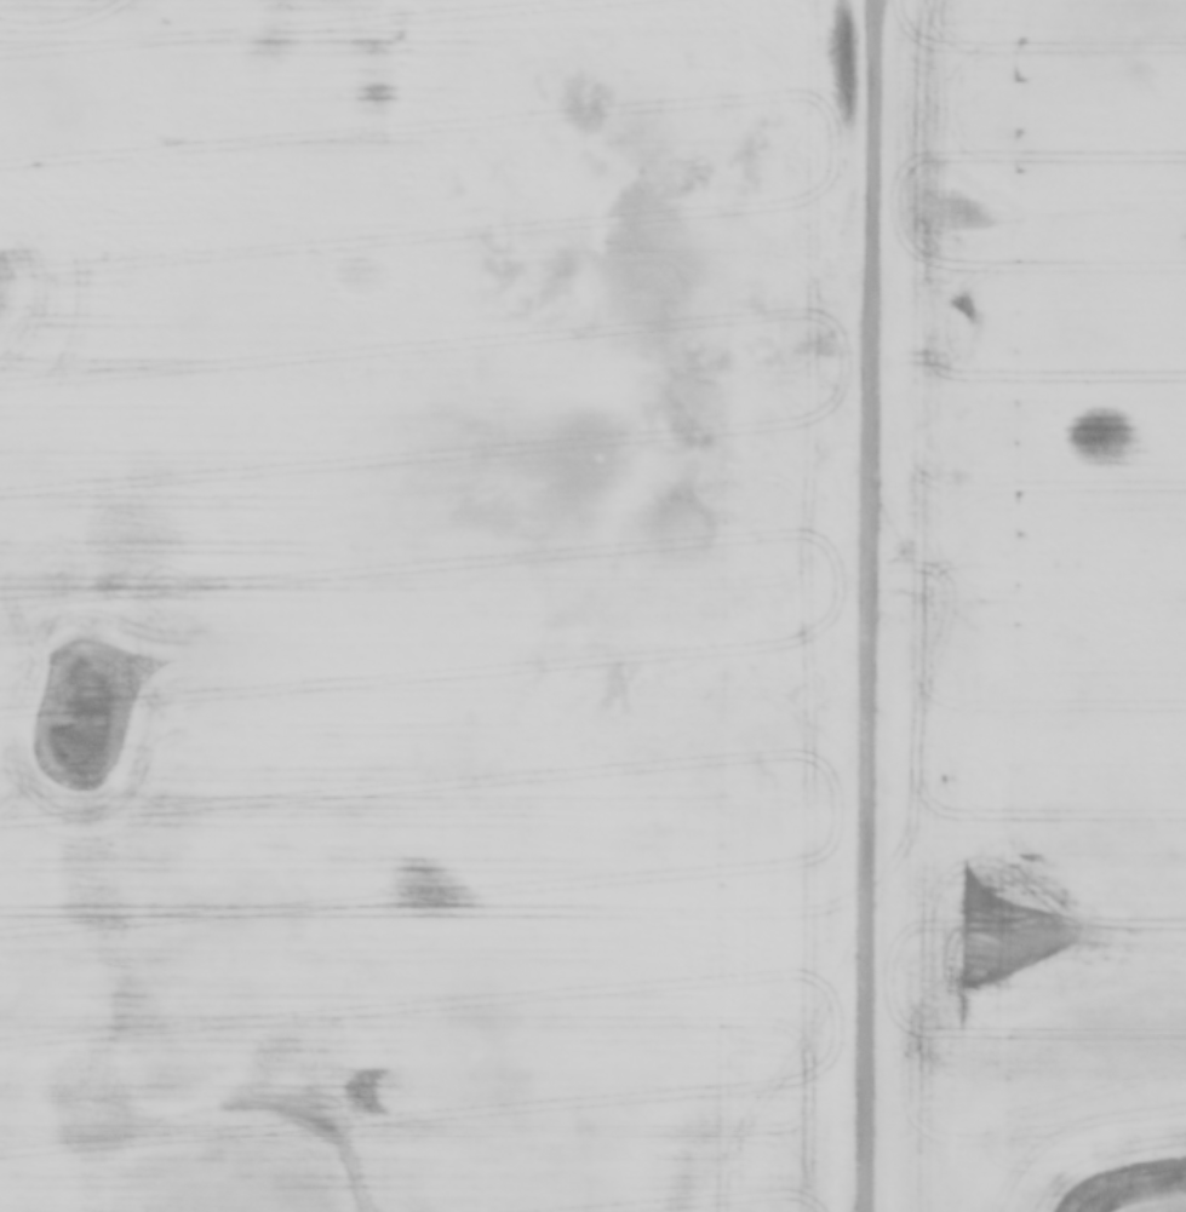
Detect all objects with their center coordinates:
road: (865, 605)

